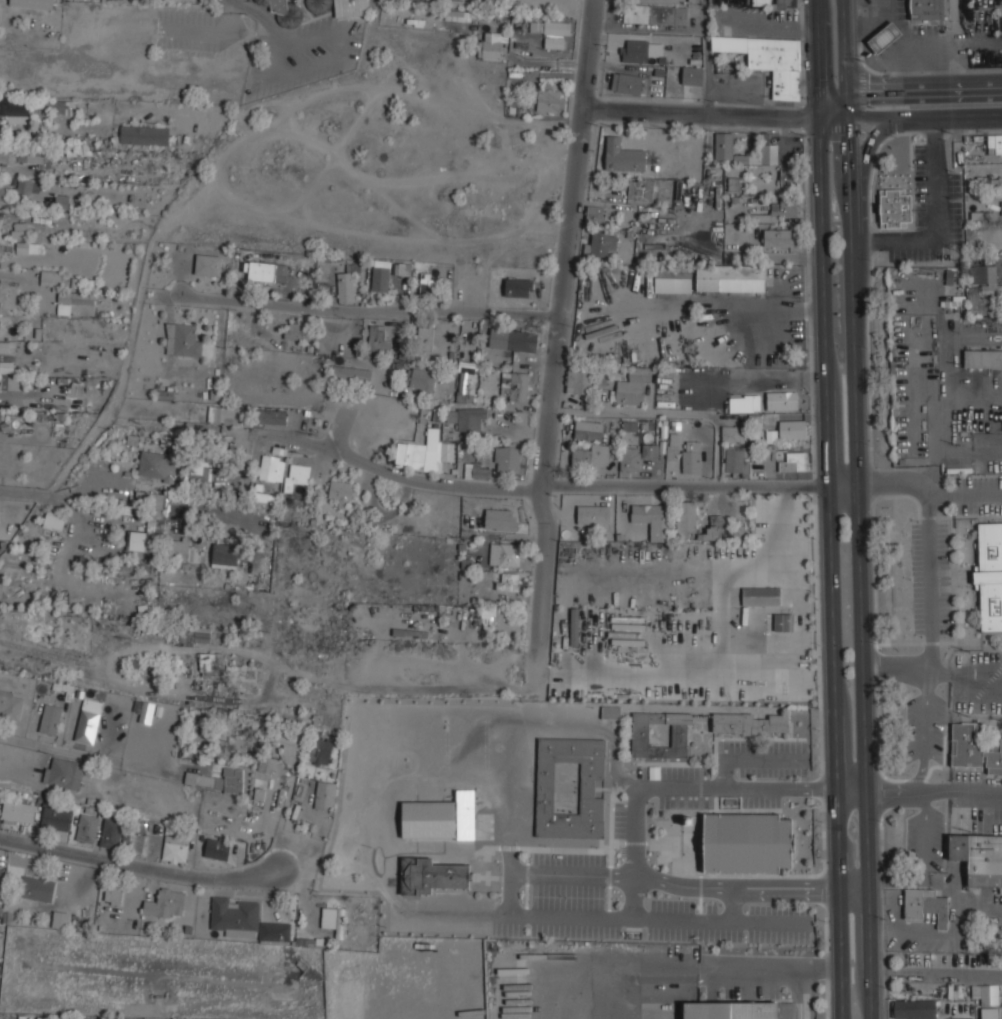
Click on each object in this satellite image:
building: (423, 0)
building: (693, 0)
road: (227, 1)
building: (33, 3)
building: (338, 6)
building: (927, 9)
building: (284, 12)
road: (256, 13)
building: (456, 14)
building: (1001, 14)
building: (655, 15)
building: (552, 31)
building: (883, 38)
building: (491, 43)
road: (957, 44)
building: (641, 51)
road: (705, 56)
road: (332, 58)
road: (820, 59)
road: (845, 59)
building: (692, 76)
building: (626, 83)
building: (786, 90)
road: (906, 91)
traffic signals: (847, 94)
building: (550, 101)
building: (55, 106)
building: (15, 109)
road: (703, 111)
road: (911, 117)
traffic signals: (822, 119)
traffic signals: (847, 119)
building: (144, 134)
building: (995, 143)
building: (727, 149)
building: (8, 154)
building: (37, 154)
building: (758, 156)
building: (624, 158)
building: (787, 175)
road: (863, 182)
building: (990, 182)
building: (24, 185)
building: (733, 185)
building: (2, 190)
building: (640, 190)
building: (64, 199)
building: (783, 207)
building: (894, 208)
building: (1001, 208)
building: (595, 213)
building: (0, 223)
building: (19, 229)
building: (778, 237)
building: (603, 242)
road: (567, 245)
building: (28, 248)
building: (1, 251)
building: (207, 263)
building: (401, 269)
building: (262, 270)
building: (380, 275)
building: (726, 275)
building: (983, 275)
building: (50, 278)
building: (672, 279)
building: (424, 282)
building: (346, 286)
building: (518, 286)
building: (991, 289)
building: (8, 292)
building: (75, 297)
building: (976, 304)
road: (773, 309)
road: (370, 310)
building: (0, 320)
building: (0, 322)
building: (295, 330)
building: (376, 336)
building: (182, 339)
building: (512, 339)
building: (425, 341)
building: (735, 341)
building: (4, 347)
building: (982, 359)
building: (351, 373)
building: (420, 379)
building: (578, 380)
building: (10, 382)
building: (515, 384)
building: (466, 386)
building: (631, 386)
building: (782, 399)
building: (744, 402)
road: (666, 412)
building: (224, 413)
building: (466, 416)
building: (269, 417)
building: (630, 426)
building: (588, 428)
building: (791, 429)
building: (732, 433)
building: (771, 437)
building: (419, 452)
building: (592, 454)
building: (635, 456)
building: (690, 456)
building: (507, 459)
building: (737, 461)
building: (793, 461)
building: (199, 465)
building: (158, 466)
building: (272, 469)
building: (476, 471)
road: (398, 476)
building: (296, 479)
road: (699, 485)
building: (341, 493)
road: (32, 495)
building: (593, 515)
building: (686, 516)
building: (53, 519)
building: (500, 519)
building: (653, 520)
building: (147, 521)
building: (714, 529)
road: (930, 546)
building: (178, 550)
building: (504, 555)
building: (224, 556)
road: (544, 567)
road: (832, 568)
road: (860, 568)
building: (990, 576)
building: (507, 582)
building: (761, 596)
building: (486, 617)
building: (783, 622)
building: (575, 627)
building: (202, 635)
building: (186, 638)
building: (211, 664)
road: (894, 669)
road: (965, 675)
building: (11, 702)
building: (611, 712)
building: (50, 719)
building: (88, 721)
building: (749, 724)
road: (922, 734)
building: (639, 735)
building: (290, 743)
building: (974, 748)
road: (58, 749)
building: (319, 751)
road: (750, 758)
road: (17, 762)
building: (267, 764)
building: (64, 773)
parking lot: (738, 775)
building: (204, 780)
building: (233, 780)
road: (670, 787)
road: (852, 787)
building: (545, 789)
road: (963, 791)
road: (887, 794)
building: (324, 795)
road: (917, 795)
building: (17, 812)
building: (55, 818)
building: (87, 828)
building: (154, 829)
building: (110, 834)
building: (454, 841)
building: (132, 842)
building: (749, 843)
building: (175, 849)
building: (217, 849)
building: (979, 858)
road: (921, 859)
road: (136, 865)
building: (0, 873)
road: (572, 873)
building: (431, 875)
road: (681, 885)
road: (729, 887)
road: (854, 887)
building: (37, 889)
building: (113, 894)
road: (509, 894)
building: (165, 904)
parking lot: (627, 905)
building: (925, 905)
building: (235, 917)
building: (60, 920)
building: (334, 920)
road: (653, 920)
building: (274, 931)
building: (986, 994)
building: (915, 1009)
building: (731, 1010)
building: (989, 1013)
building: (969, 1018)

